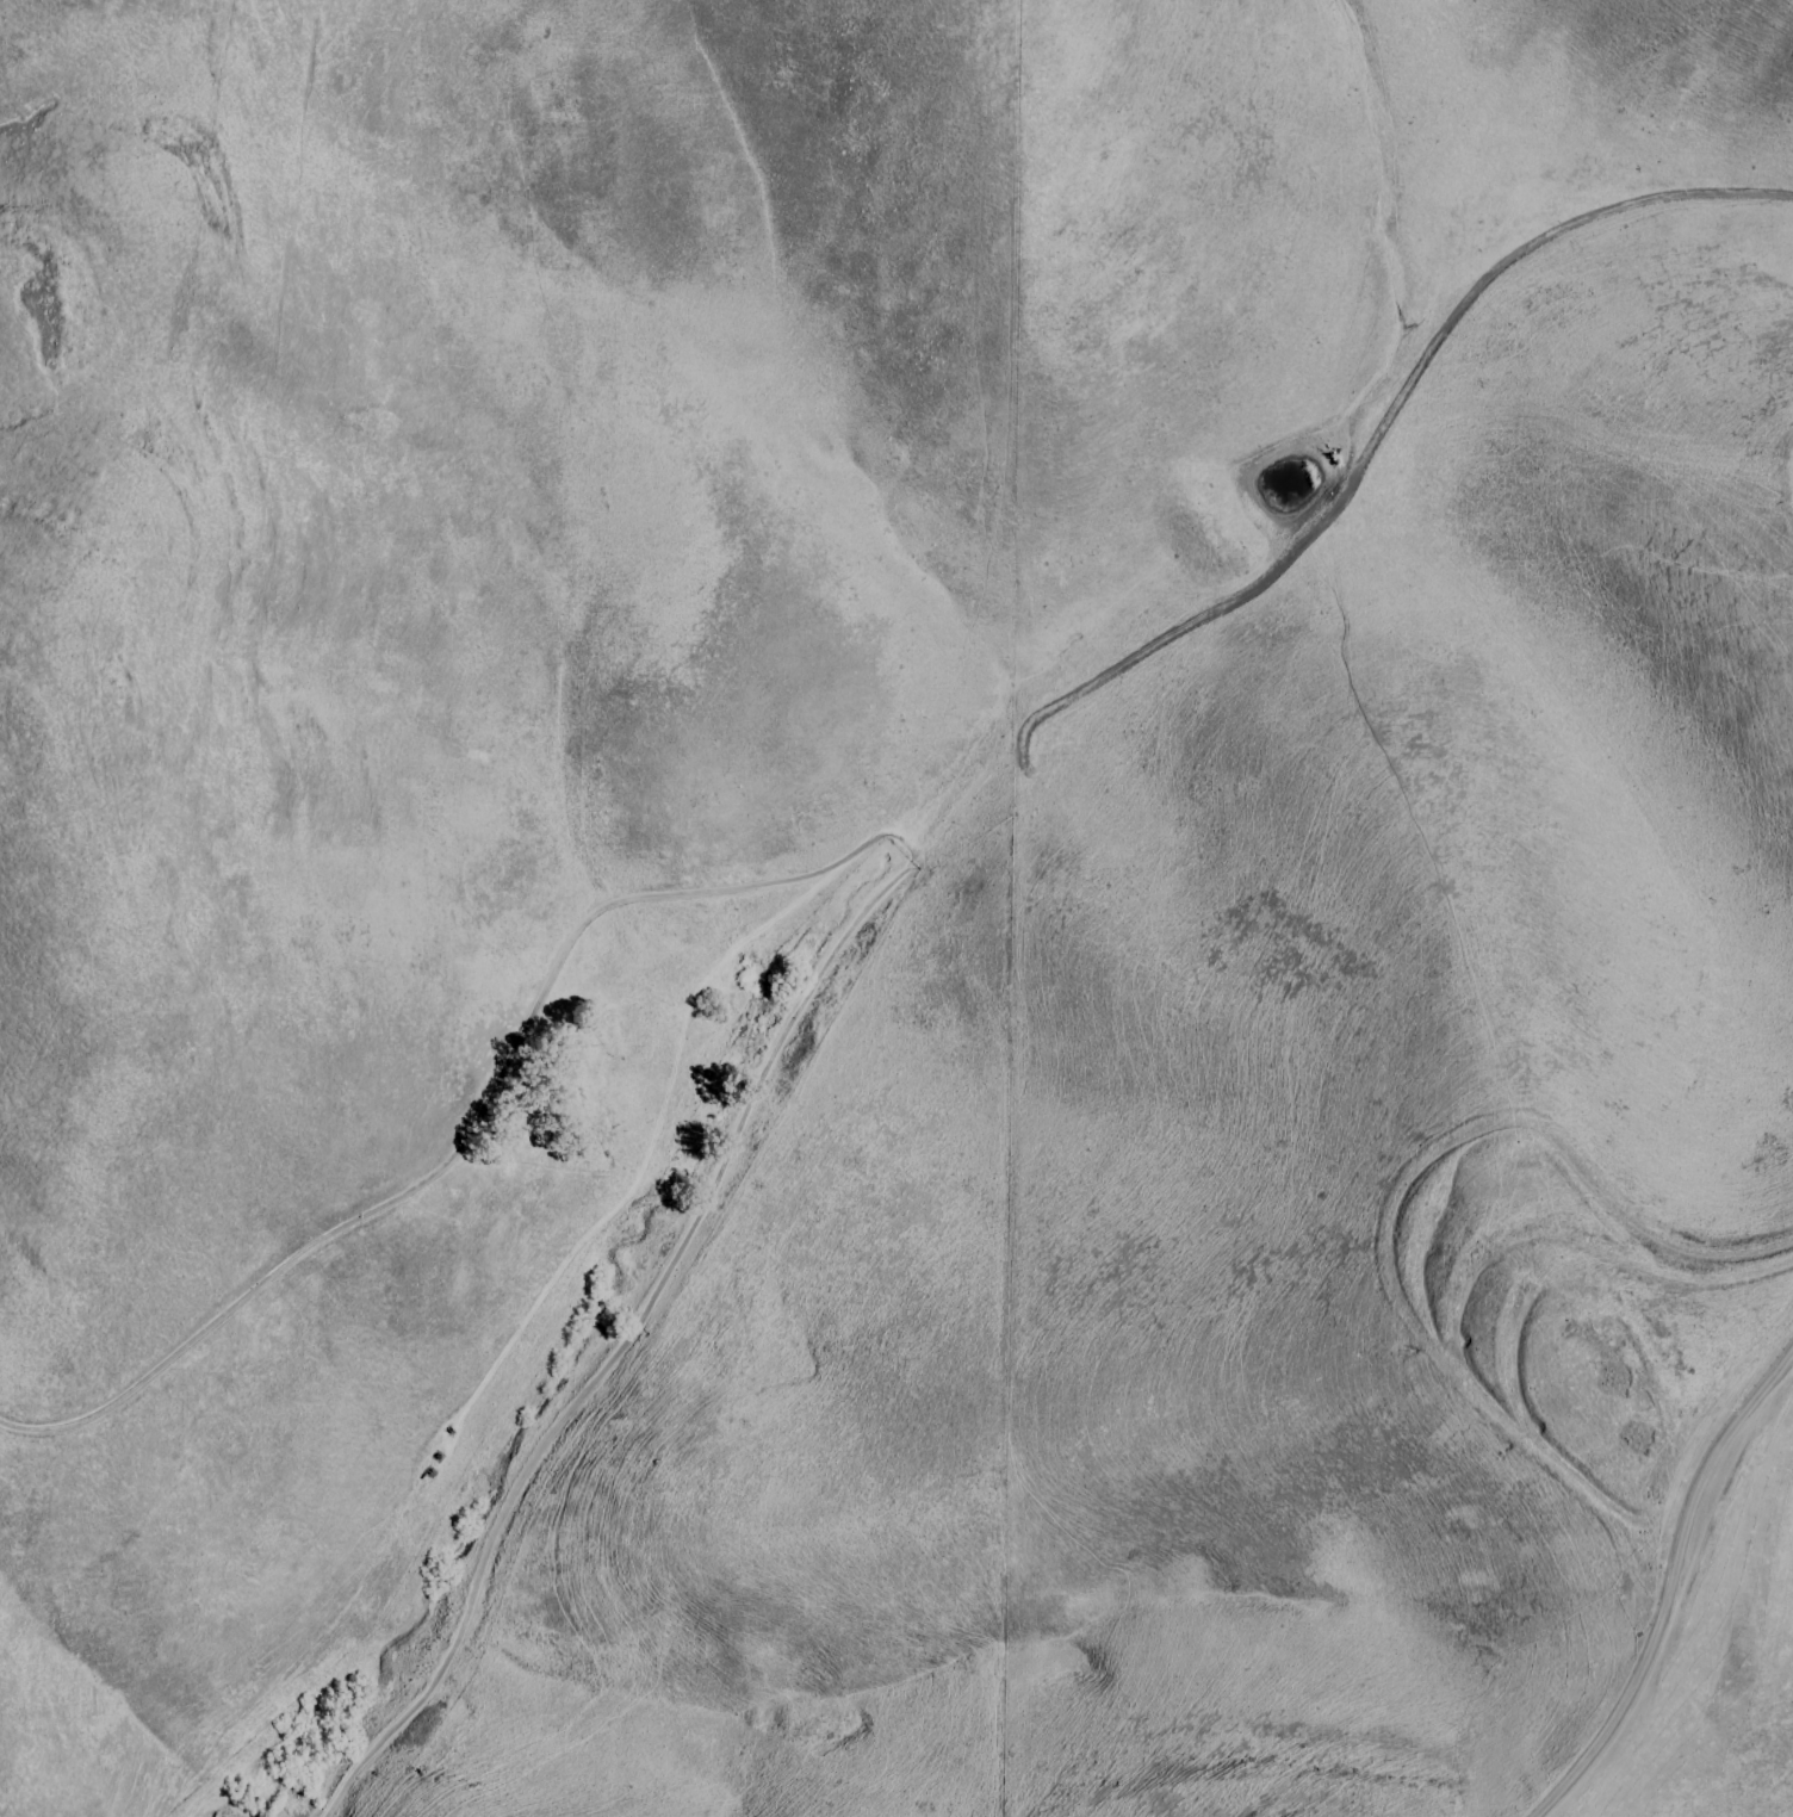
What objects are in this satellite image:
road: (905, 842)

